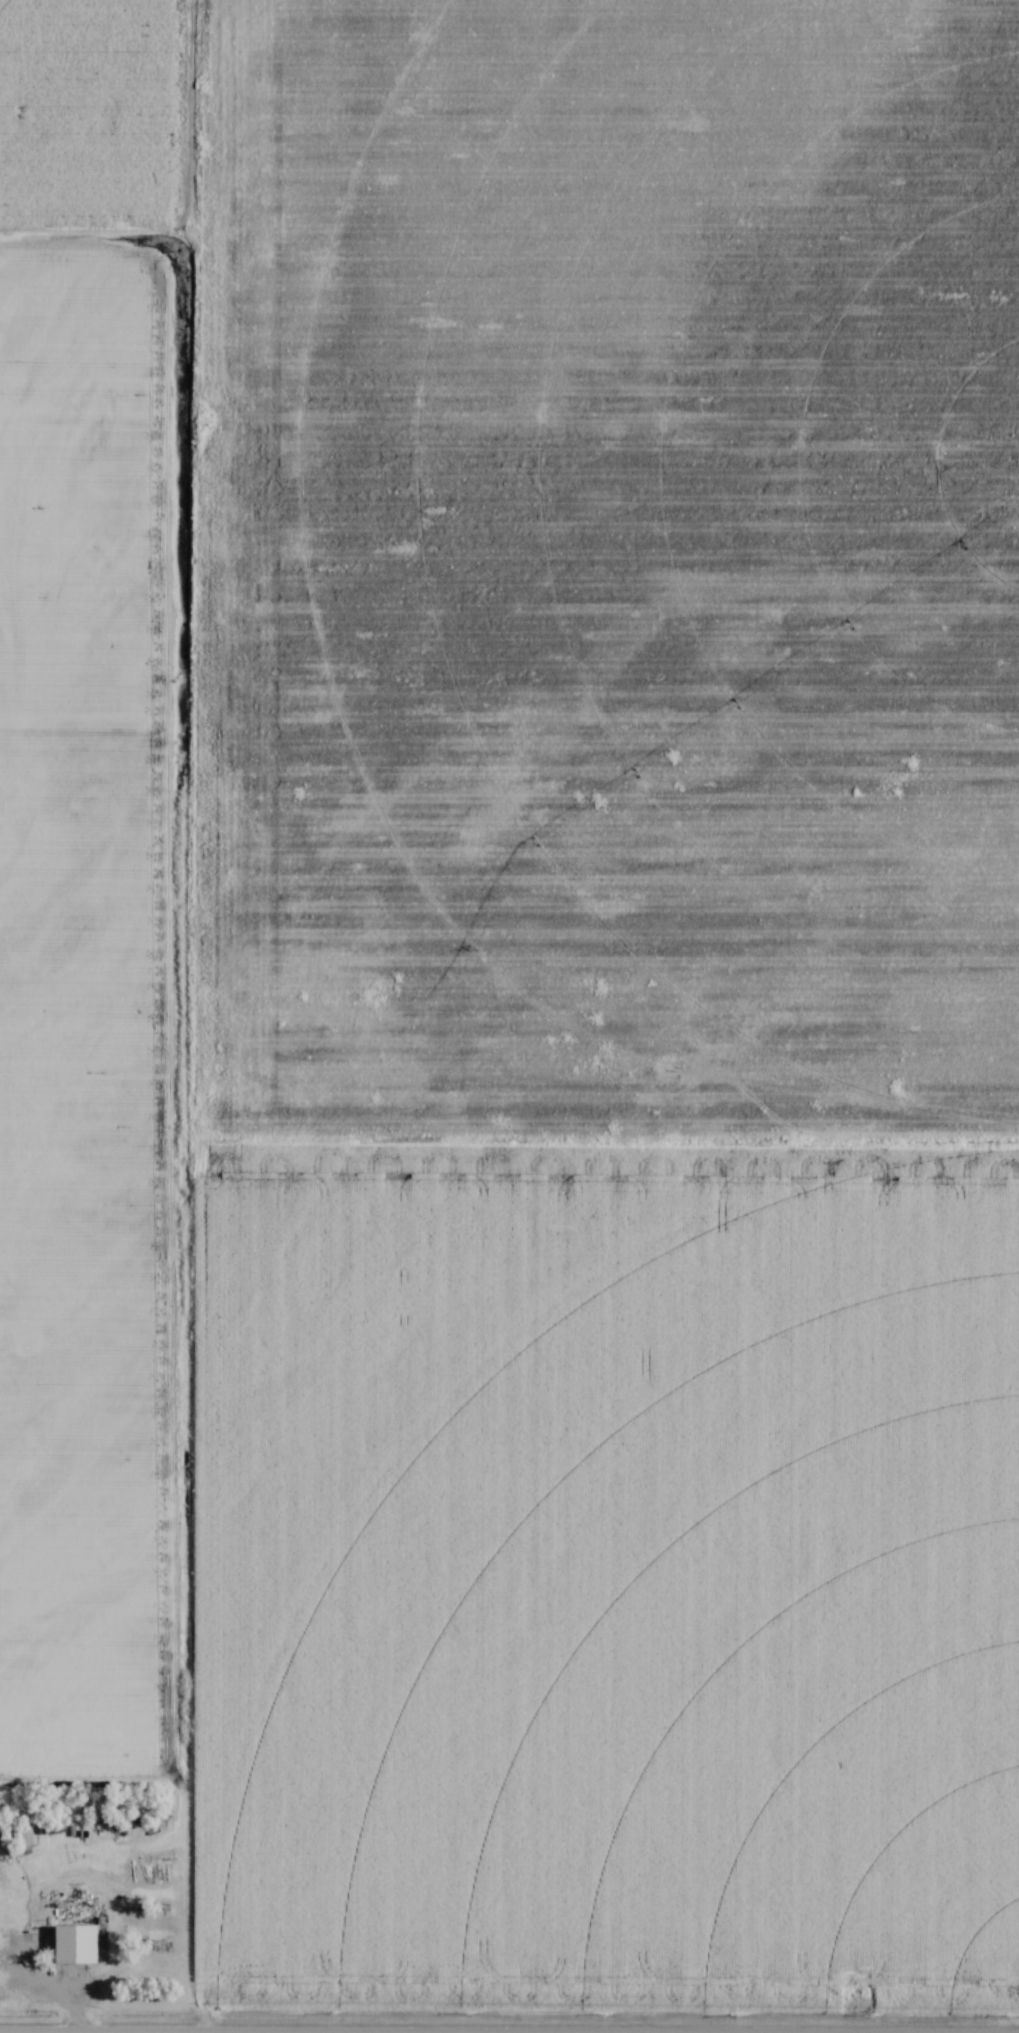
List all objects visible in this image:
building: (77, 1945)
road: (54, 1999)

